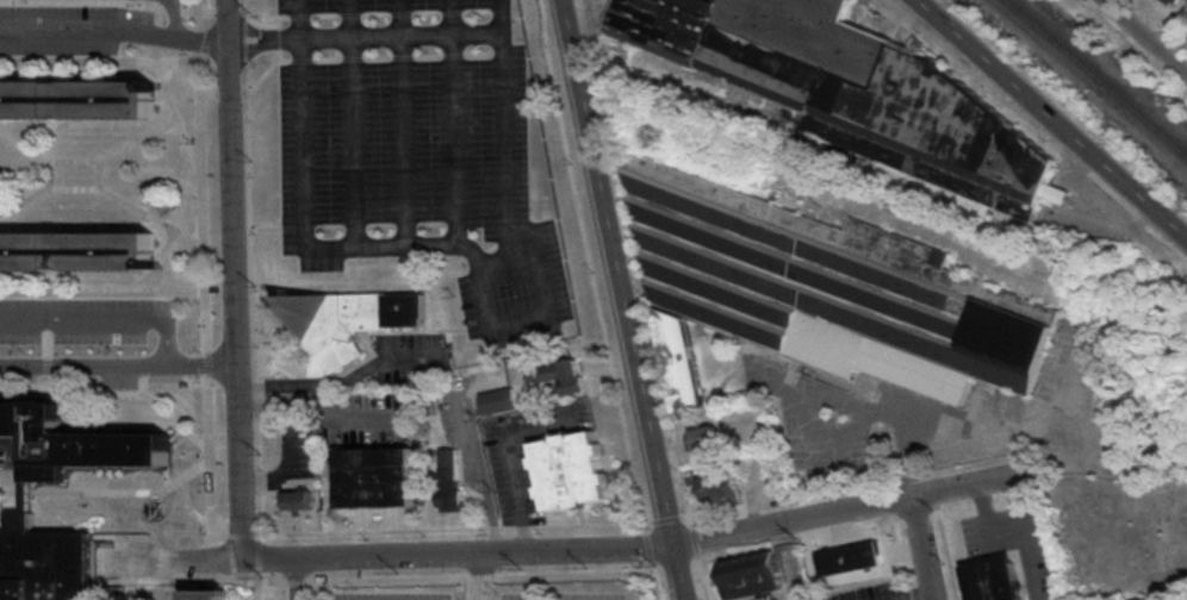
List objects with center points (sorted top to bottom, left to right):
road: (241, 5)
road: (207, 8)
road: (225, 8)
road: (204, 13)
road: (365, 13)
road: (175, 17)
road: (114, 29)
road: (1145, 36)
road: (153, 37)
road: (201, 37)
road: (365, 37)
road: (242, 38)
road: (365, 56)
road: (98, 58)
railway: (1098, 76)
building: (851, 89)
road: (206, 93)
road: (229, 93)
building: (76, 99)
road: (173, 107)
road: (1056, 112)
road: (352, 121)
road: (403, 121)
road: (454, 121)
parking lot: (418, 152)
road: (91, 160)
road: (49, 174)
road: (100, 174)
road: (102, 189)
road: (201, 200)
road: (354, 225)
building: (76, 249)
road: (167, 258)
road: (511, 271)
road: (235, 277)
road: (236, 280)
road: (480, 283)
building: (818, 290)
road: (111, 292)
road: (624, 299)
road: (597, 300)
parking lot: (81, 314)
road: (104, 320)
building: (348, 320)
road: (253, 323)
road: (46, 349)
road: (471, 354)
road: (206, 362)
road: (119, 363)
road: (596, 369)
building: (558, 373)
road: (346, 382)
road: (104, 390)
building: (499, 399)
road: (174, 433)
building: (702, 437)
building: (70, 438)
road: (467, 443)
road: (5, 446)
road: (512, 458)
road: (481, 467)
building: (570, 468)
road: (284, 469)
building: (377, 475)
road: (142, 476)
building: (449, 480)
road: (969, 481)
building: (721, 486)
road: (210, 489)
building: (25, 494)
road: (471, 496)
building: (298, 498)
road: (51, 508)
road: (986, 512)
road: (583, 515)
road: (338, 531)
road: (1026, 536)
road: (608, 544)
road: (926, 545)
building: (846, 551)
road: (173, 555)
road: (271, 555)
building: (43, 562)
road: (481, 574)
building: (752, 574)
road: (456, 576)
road: (297, 577)
road: (175, 579)
building: (994, 579)
road: (113, 580)
road: (259, 589)
building: (210, 594)
road: (770, 594)
parking lot: (479, 595)
building: (1144, 598)
road: (123, 599)

